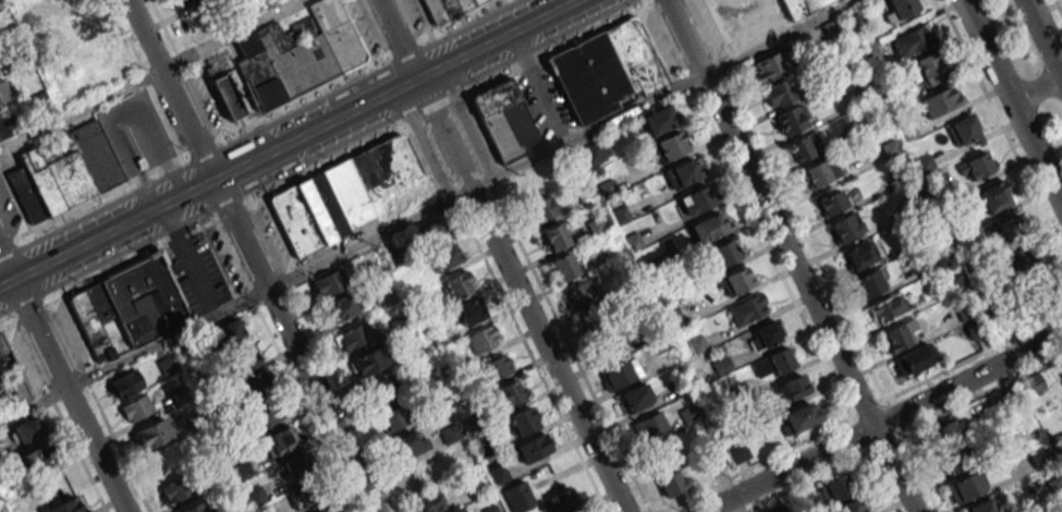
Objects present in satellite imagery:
building: (184, 2)
building: (444, 7)
building: (901, 9)
building: (757, 16)
road: (230, 35)
road: (1043, 37)
road: (403, 38)
building: (913, 40)
road: (988, 50)
building: (298, 53)
building: (768, 68)
building: (930, 68)
building: (606, 70)
road: (1037, 88)
road: (169, 90)
building: (3, 92)
road: (664, 92)
building: (778, 93)
building: (227, 96)
parking lot: (545, 96)
building: (941, 100)
road: (447, 109)
road: (80, 110)
building: (503, 119)
building: (792, 119)
road: (423, 120)
road: (467, 120)
building: (659, 120)
building: (5, 126)
building: (964, 131)
road: (288, 143)
road: (423, 143)
building: (669, 146)
building: (804, 147)
road: (453, 150)
road: (1037, 151)
building: (594, 153)
building: (978, 166)
building: (821, 171)
building: (64, 172)
building: (682, 172)
building: (340, 195)
building: (994, 196)
building: (695, 199)
building: (832, 202)
building: (542, 208)
building: (620, 215)
building: (596, 225)
building: (846, 227)
building: (1010, 227)
building: (709, 228)
building: (431, 233)
building: (556, 236)
building: (724, 253)
road: (789, 255)
building: (860, 255)
building: (1027, 256)
building: (444, 257)
road: (190, 259)
building: (565, 266)
road: (5, 268)
building: (735, 281)
building: (870, 282)
building: (329, 283)
building: (957, 283)
building: (457, 285)
building: (582, 291)
building: (387, 296)
road: (236, 302)
building: (130, 307)
building: (341, 307)
building: (748, 309)
building: (471, 313)
building: (595, 316)
building: (672, 316)
building: (972, 320)
building: (400, 325)
building: (765, 336)
building: (899, 336)
building: (353, 337)
building: (483, 340)
building: (607, 343)
building: (236, 345)
road: (294, 345)
road: (550, 349)
building: (915, 359)
building: (368, 362)
building: (773, 364)
building: (497, 367)
building: (620, 374)
building: (10, 380)
building: (125, 383)
building: (256, 387)
building: (792, 387)
building: (379, 391)
road: (68, 395)
building: (505, 395)
building: (634, 399)
building: (134, 409)
building: (689, 414)
building: (266, 415)
building: (799, 417)
building: (392, 418)
road: (882, 422)
building: (522, 423)
building: (651, 427)
building: (27, 430)
building: (152, 434)
building: (947, 434)
building: (280, 440)
building: (411, 442)
building: (534, 448)
building: (737, 452)
building: (36, 458)
building: (957, 459)
building: (297, 465)
building: (243, 470)
building: (673, 483)
building: (1055, 485)
building: (966, 486)
building: (837, 489)
building: (172, 490)
building: (305, 495)
building: (256, 496)
building: (430, 501)
building: (563, 501)
building: (850, 505)
building: (66, 507)
building: (982, 507)
building: (195, 508)
building: (328, 510)
building: (460, 510)

